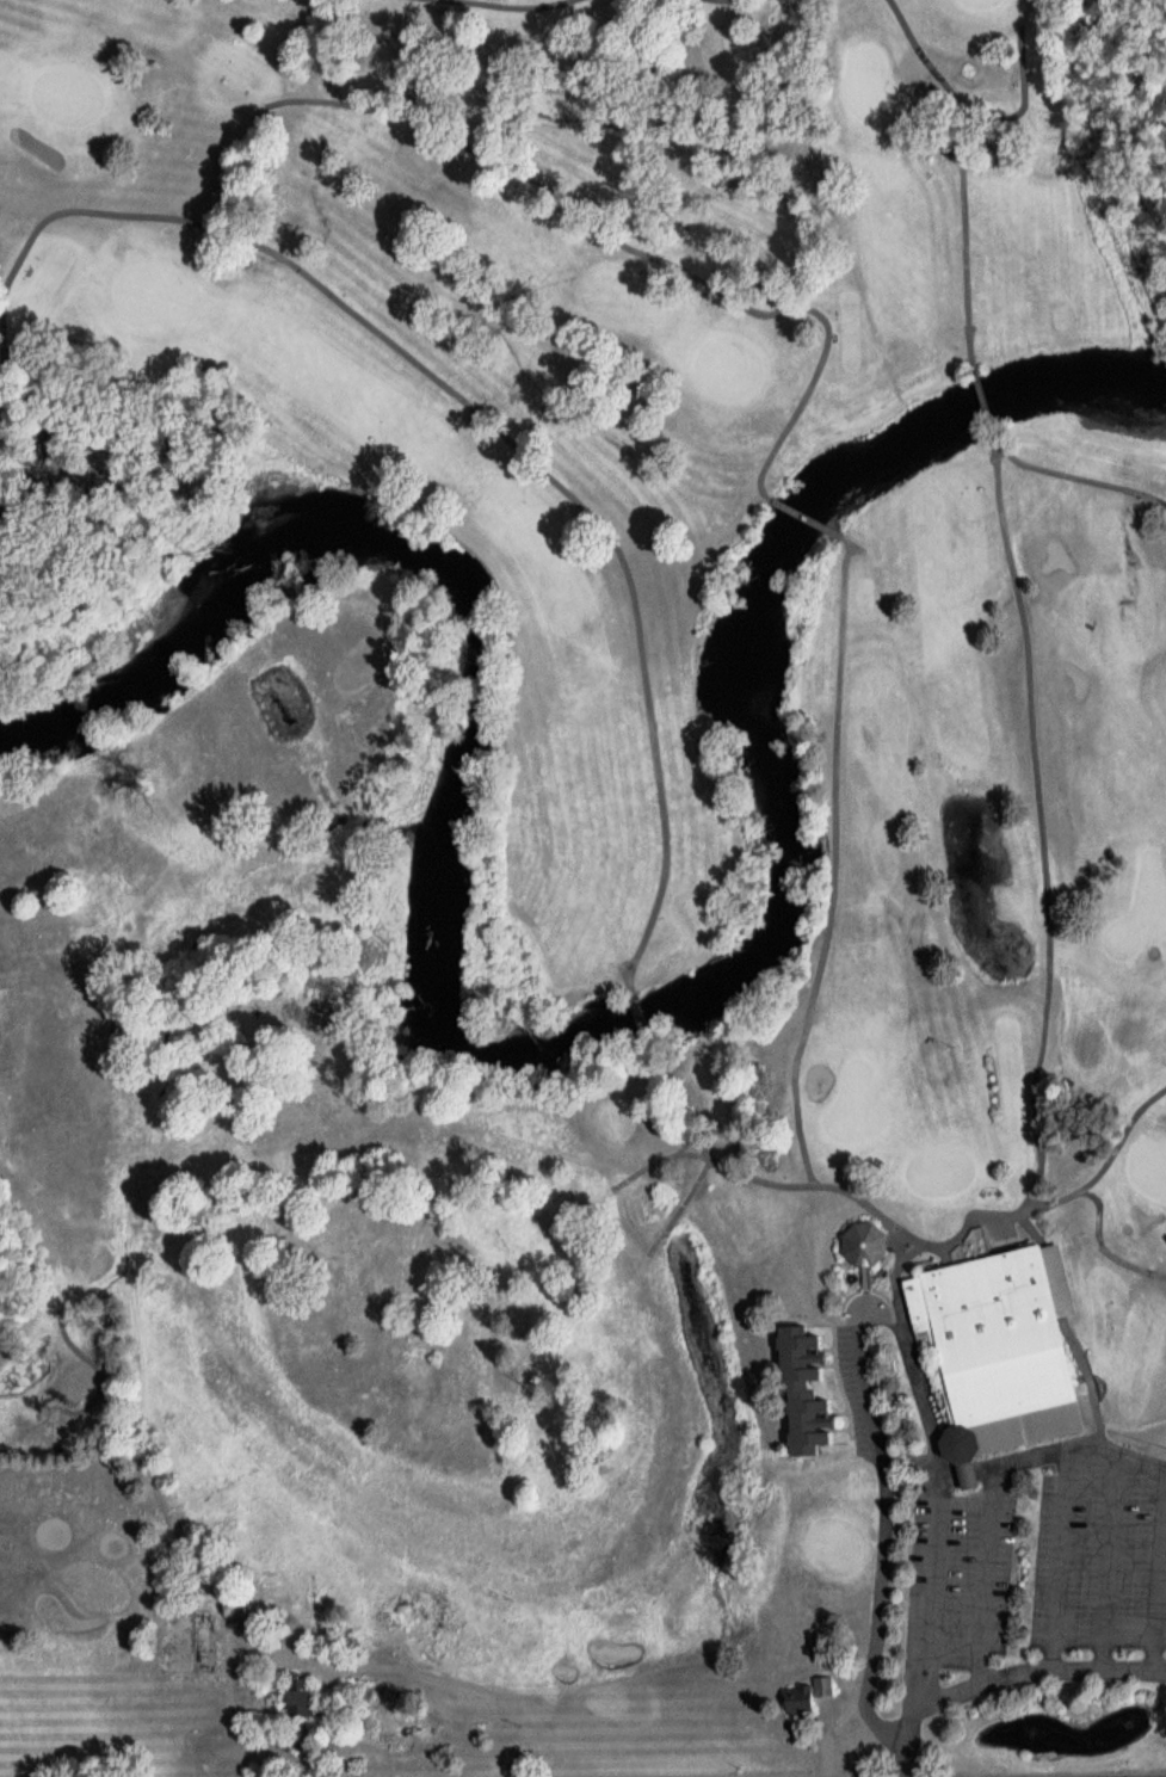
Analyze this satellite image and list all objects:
park: (573, 890)
river: (542, 1056)
building: (1005, 1351)
building: (807, 1393)
parking lot: (1097, 1565)
building: (193, 1643)
building: (810, 1697)
building: (304, 1702)
building: (381, 1719)

